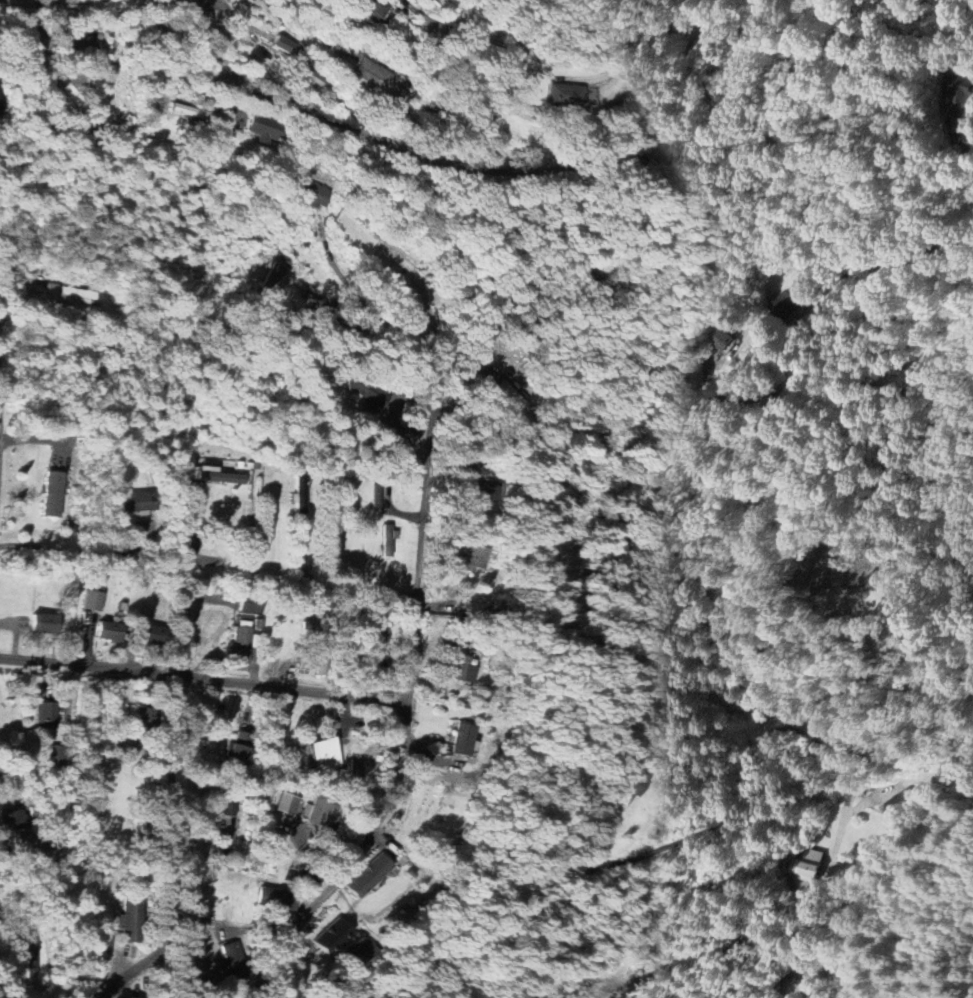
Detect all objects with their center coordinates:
building: (375, 7)
road: (658, 16)
building: (86, 45)
building: (285, 46)
road: (524, 50)
building: (381, 79)
road: (201, 91)
building: (571, 95)
building: (961, 95)
building: (1, 100)
building: (188, 111)
building: (264, 131)
building: (659, 154)
road: (443, 164)
building: (315, 195)
building: (273, 276)
building: (53, 292)
building: (73, 294)
road: (362, 301)
building: (791, 303)
road: (828, 303)
building: (722, 338)
building: (501, 394)
building: (219, 476)
building: (53, 493)
building: (378, 497)
building: (138, 502)
road: (419, 520)
building: (388, 539)
road: (72, 550)
building: (470, 557)
road: (187, 585)
building: (94, 600)
building: (252, 604)
building: (46, 623)
building: (113, 629)
building: (239, 646)
building: (464, 669)
road: (202, 676)
building: (46, 715)
building: (146, 717)
building: (462, 740)
road: (823, 747)
building: (240, 749)
building: (326, 753)
road: (170, 794)
building: (903, 803)
building: (288, 804)
building: (322, 811)
building: (56, 812)
building: (14, 819)
building: (230, 820)
road: (371, 826)
building: (806, 866)
building: (369, 875)
building: (277, 899)
building: (332, 936)
building: (31, 958)
building: (233, 960)
building: (125, 997)

